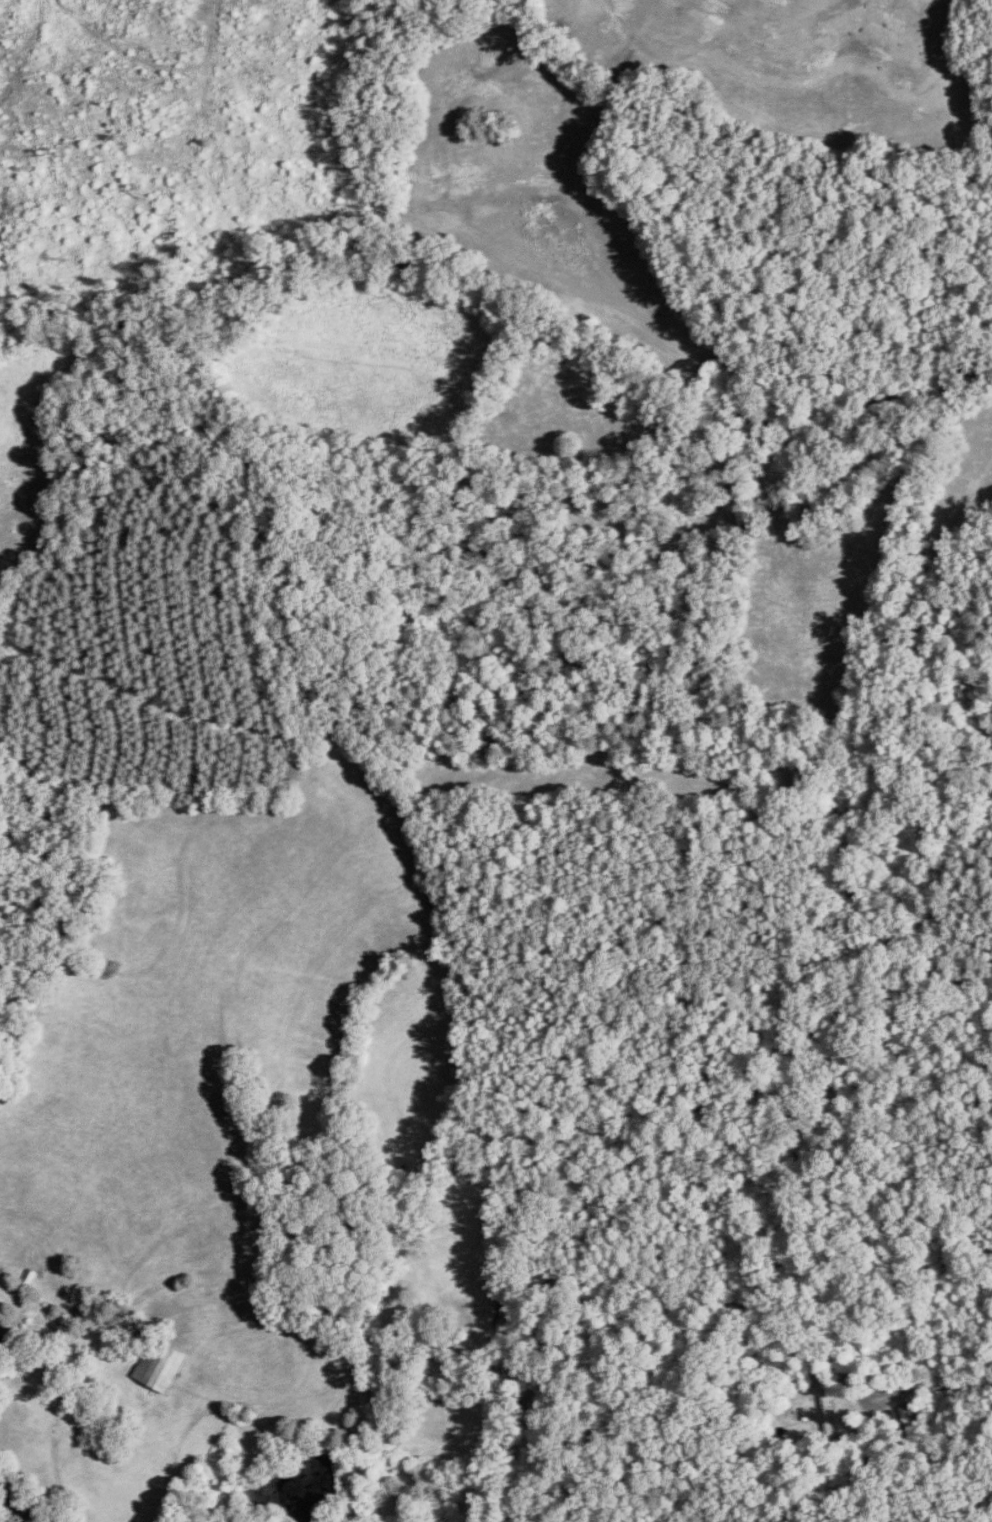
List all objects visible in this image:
building: (15, 543)
building: (28, 1281)
building: (68, 1318)
building: (161, 1366)
road: (936, 1388)
building: (828, 1417)
road: (19, 1503)

